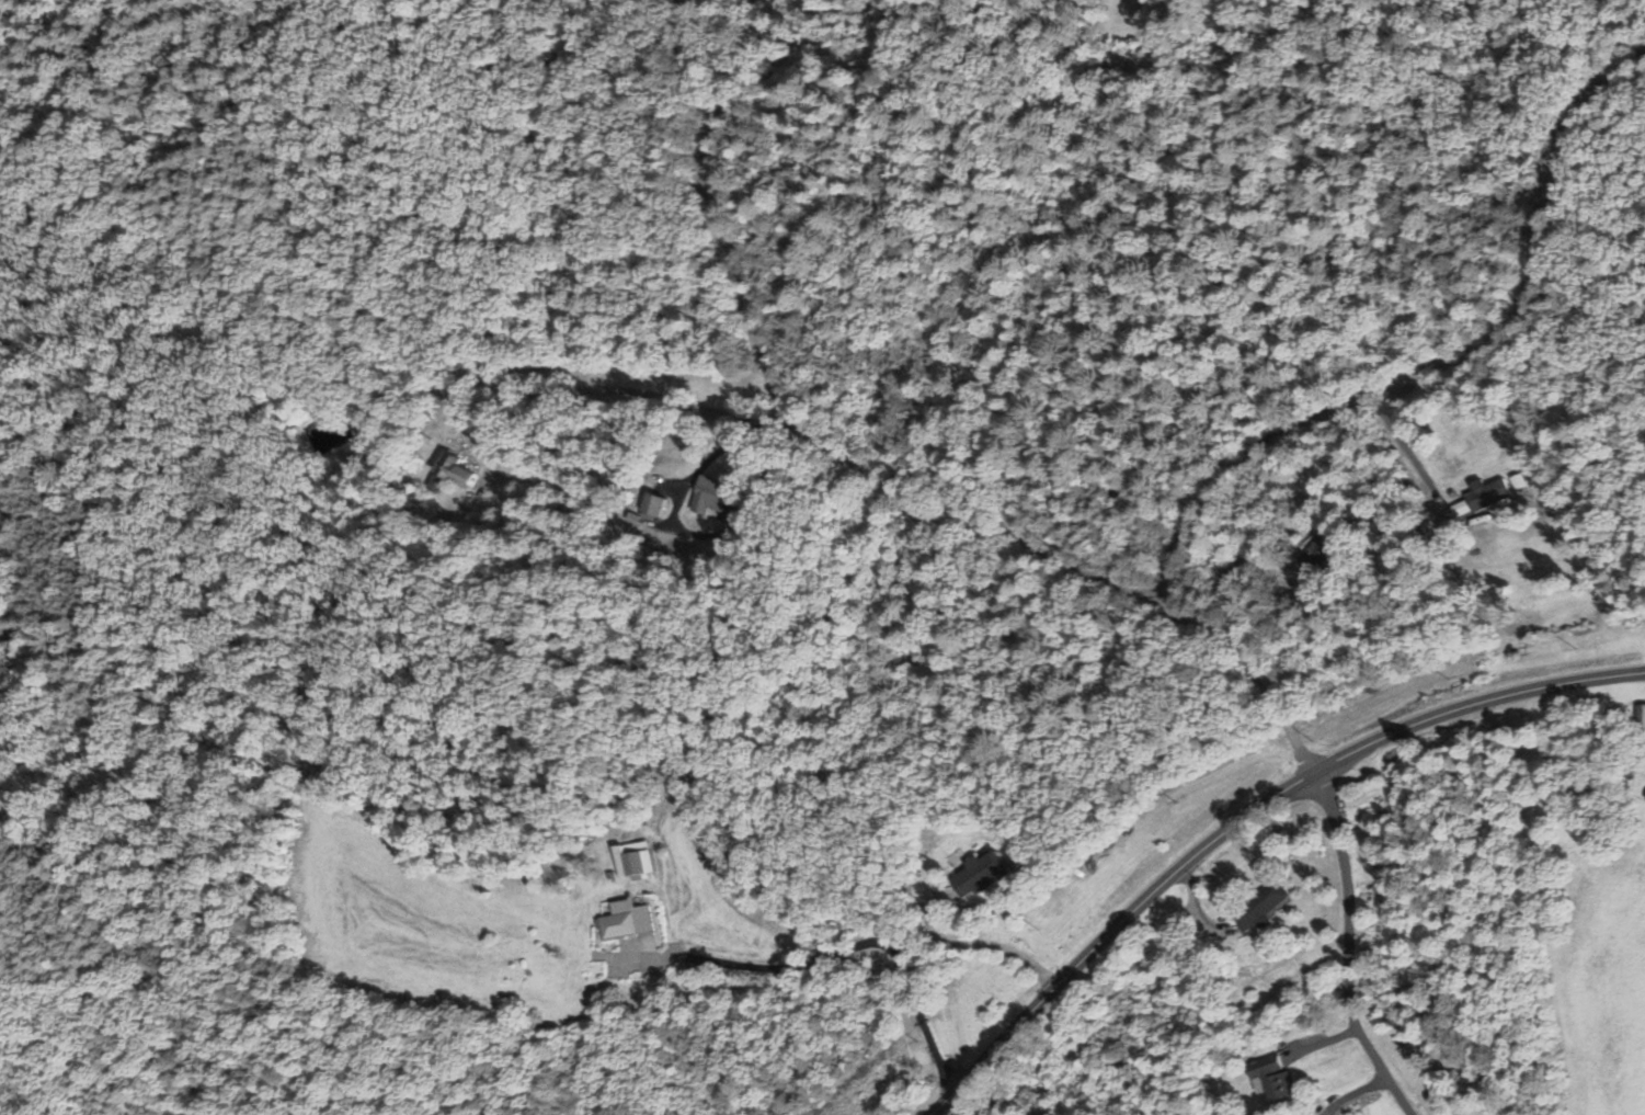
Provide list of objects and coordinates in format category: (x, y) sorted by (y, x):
road: (1450, 354)
road: (782, 408)
building: (456, 470)
building: (710, 496)
building: (1485, 496)
building: (1317, 551)
building: (1550, 612)
road: (1259, 662)
building: (1640, 716)
road: (1241, 817)
building: (635, 863)
building: (979, 874)
building: (1259, 907)
building: (625, 920)
road: (872, 949)
road: (1344, 952)
building: (1271, 1076)

